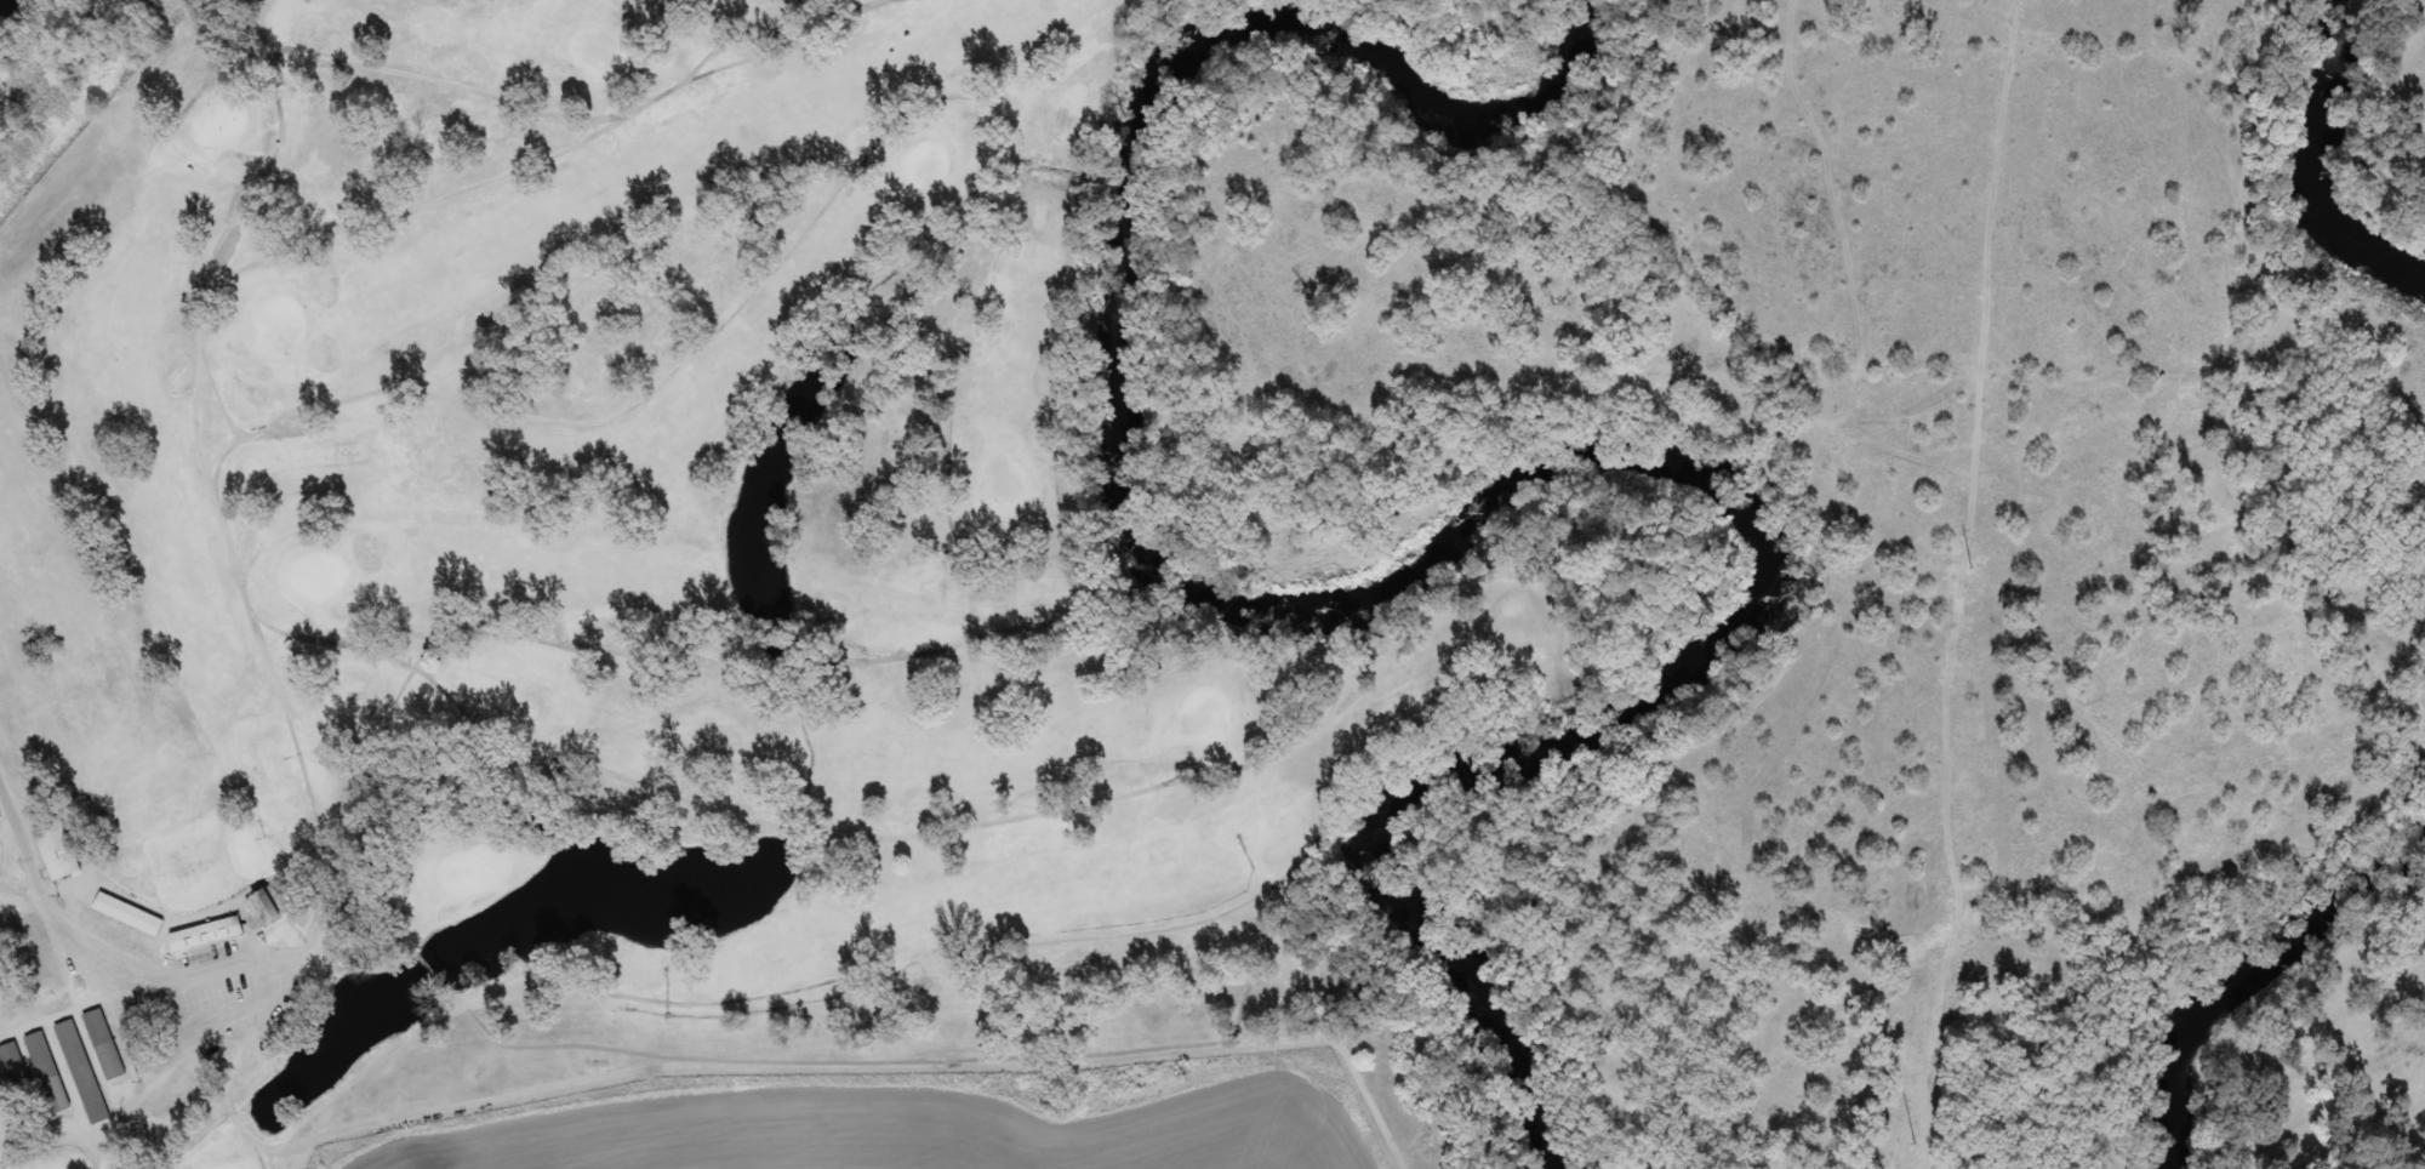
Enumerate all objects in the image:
river: (2, 6)
park: (1443, 12)
river: (2326, 160)
park: (627, 570)
river: (1439, 597)
building: (57, 850)
river: (2397, 884)
road: (42, 899)
building: (129, 914)
building: (194, 939)
river: (2231, 1007)
building: (104, 1045)
building: (13, 1067)
building: (81, 1072)
building: (47, 1073)

